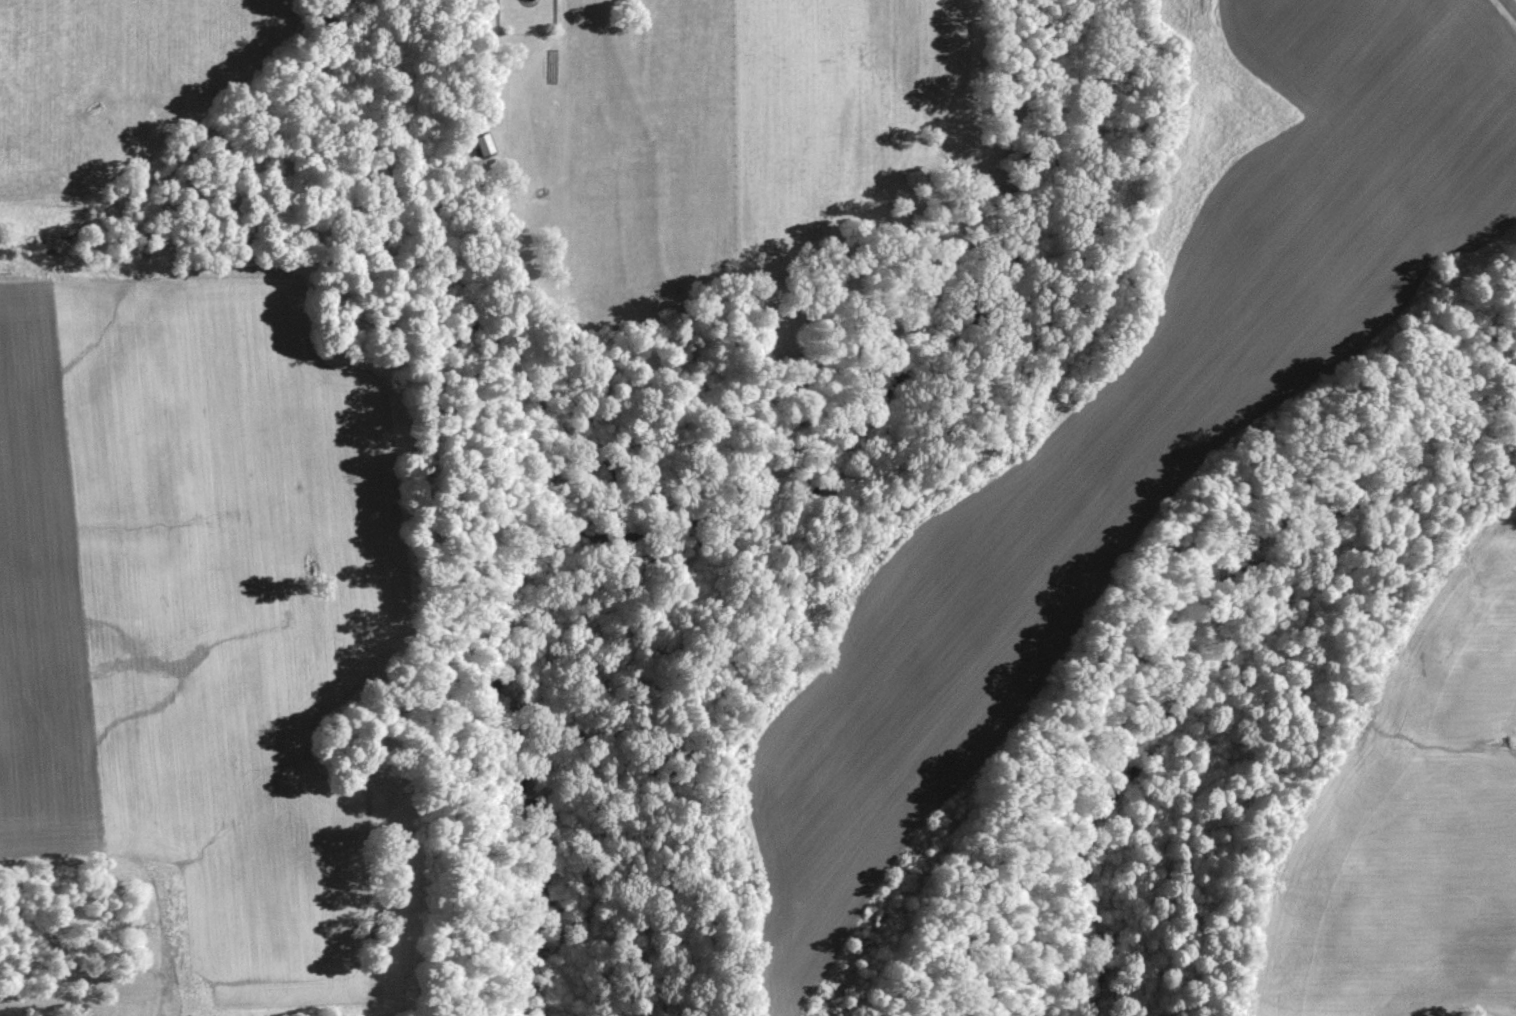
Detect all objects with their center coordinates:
road: (1507, 8)

